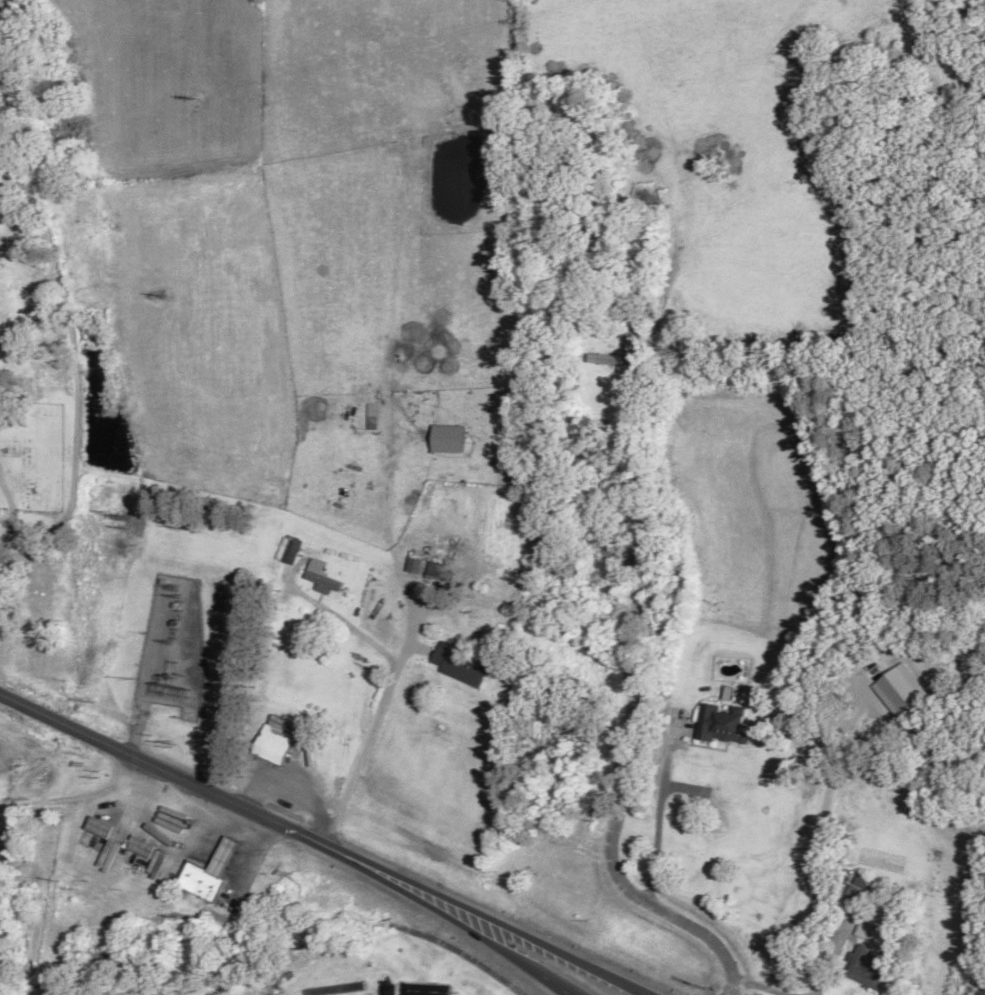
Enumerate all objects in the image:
building: (607, 359)
road: (79, 364)
building: (449, 439)
building: (321, 576)
road: (607, 641)
power substation: (176, 645)
building: (459, 665)
road: (393, 680)
building: (722, 725)
building: (276, 743)
road: (162, 768)
building: (168, 816)
building: (102, 826)
building: (143, 847)
building: (210, 873)
building: (858, 890)
road: (446, 920)
road: (485, 920)
building: (867, 968)

